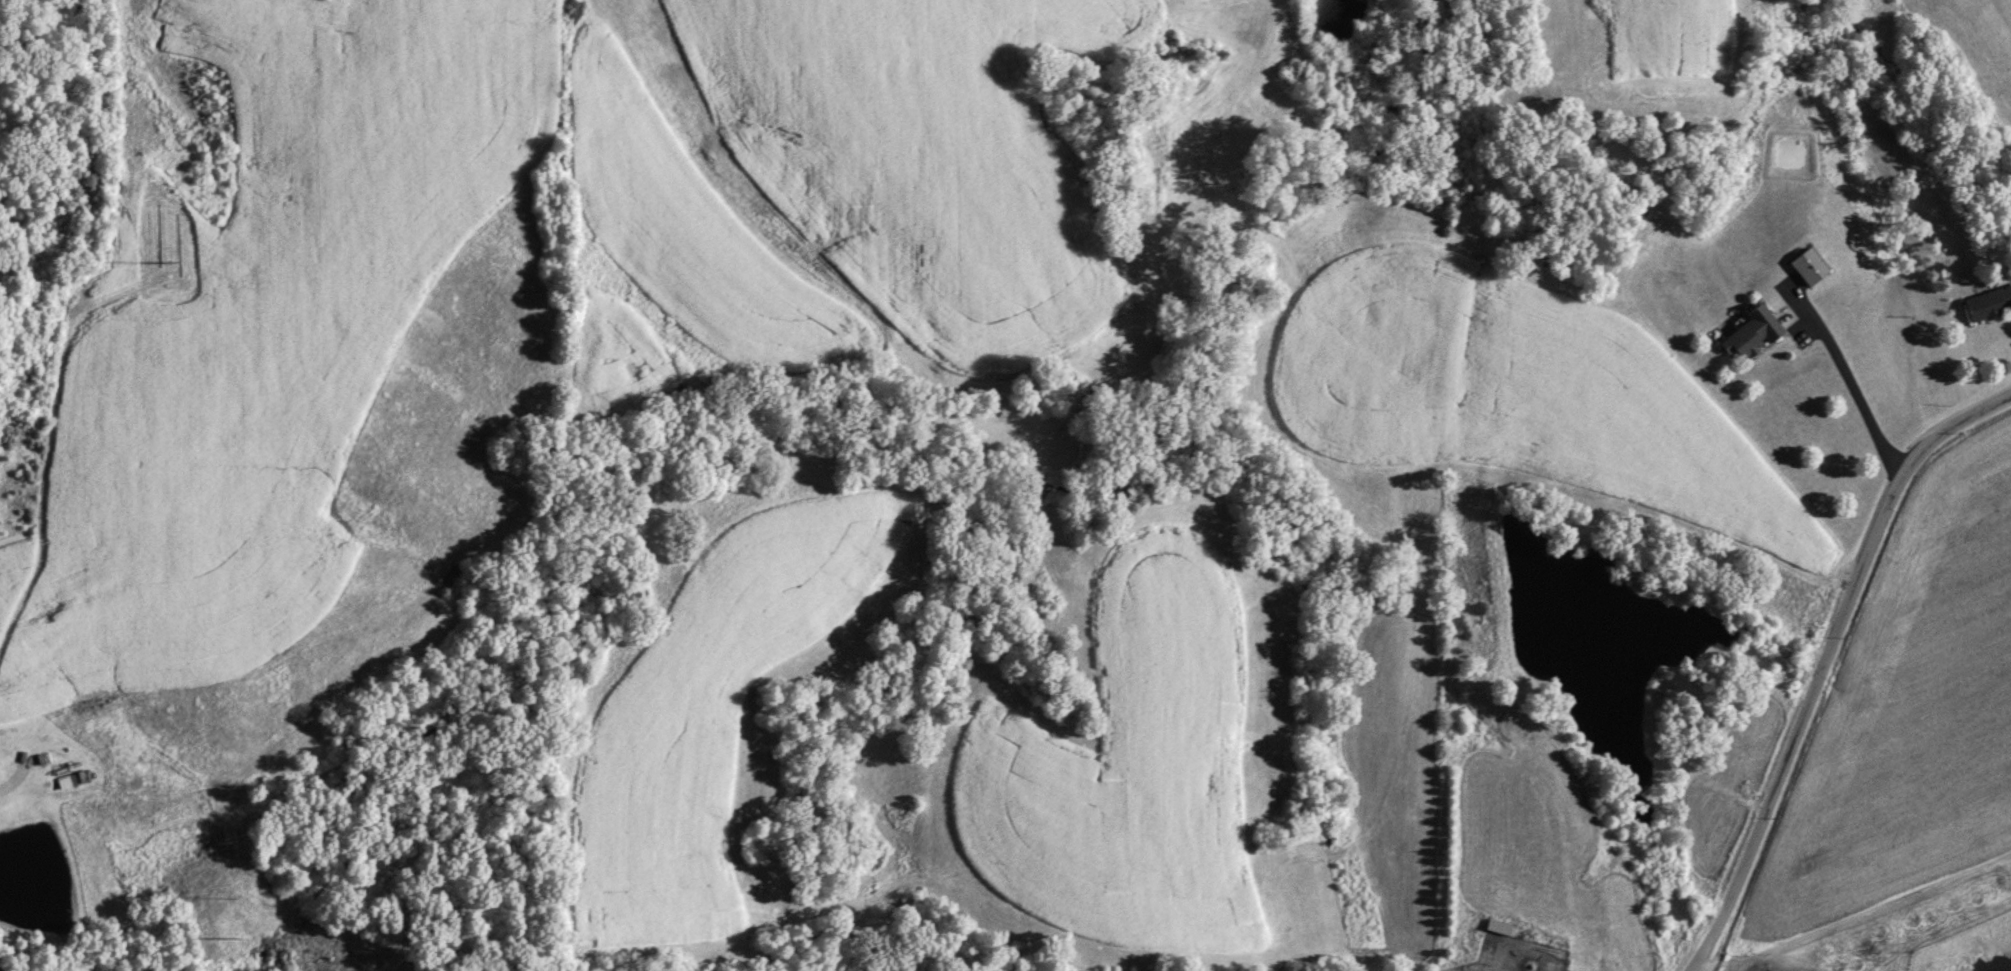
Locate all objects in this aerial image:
building: (1805, 265)
building: (1988, 301)
building: (1785, 314)
building: (1749, 331)
road: (1851, 380)
road: (1827, 660)

